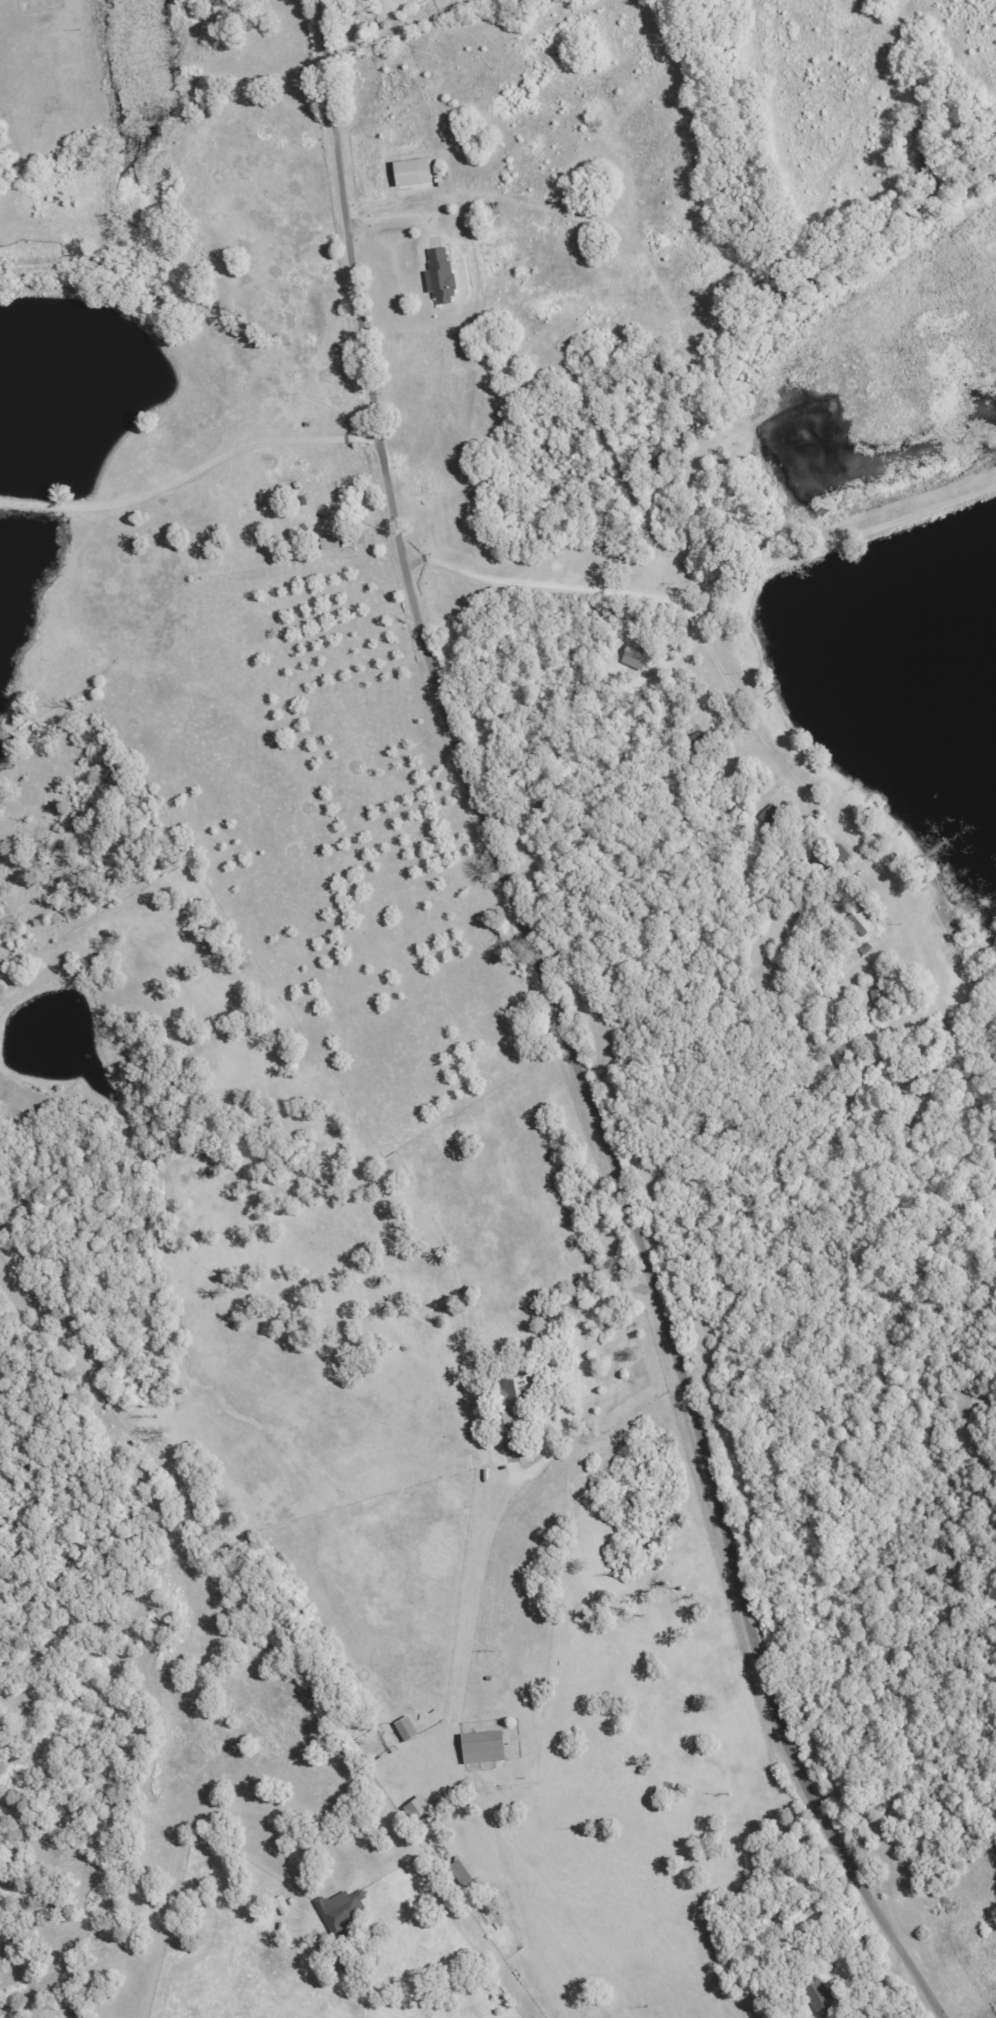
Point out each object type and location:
building: (414, 175)
building: (441, 275)
building: (330, 542)
road: (826, 543)
road: (541, 629)
building: (634, 656)
building: (770, 817)
road: (782, 890)
building: (862, 921)
building: (879, 998)
road: (561, 1030)
building: (516, 1390)
building: (506, 1426)
building: (407, 1729)
building: (485, 1747)
building: (418, 1809)
building: (463, 1875)
building: (342, 1909)
building: (820, 1999)

